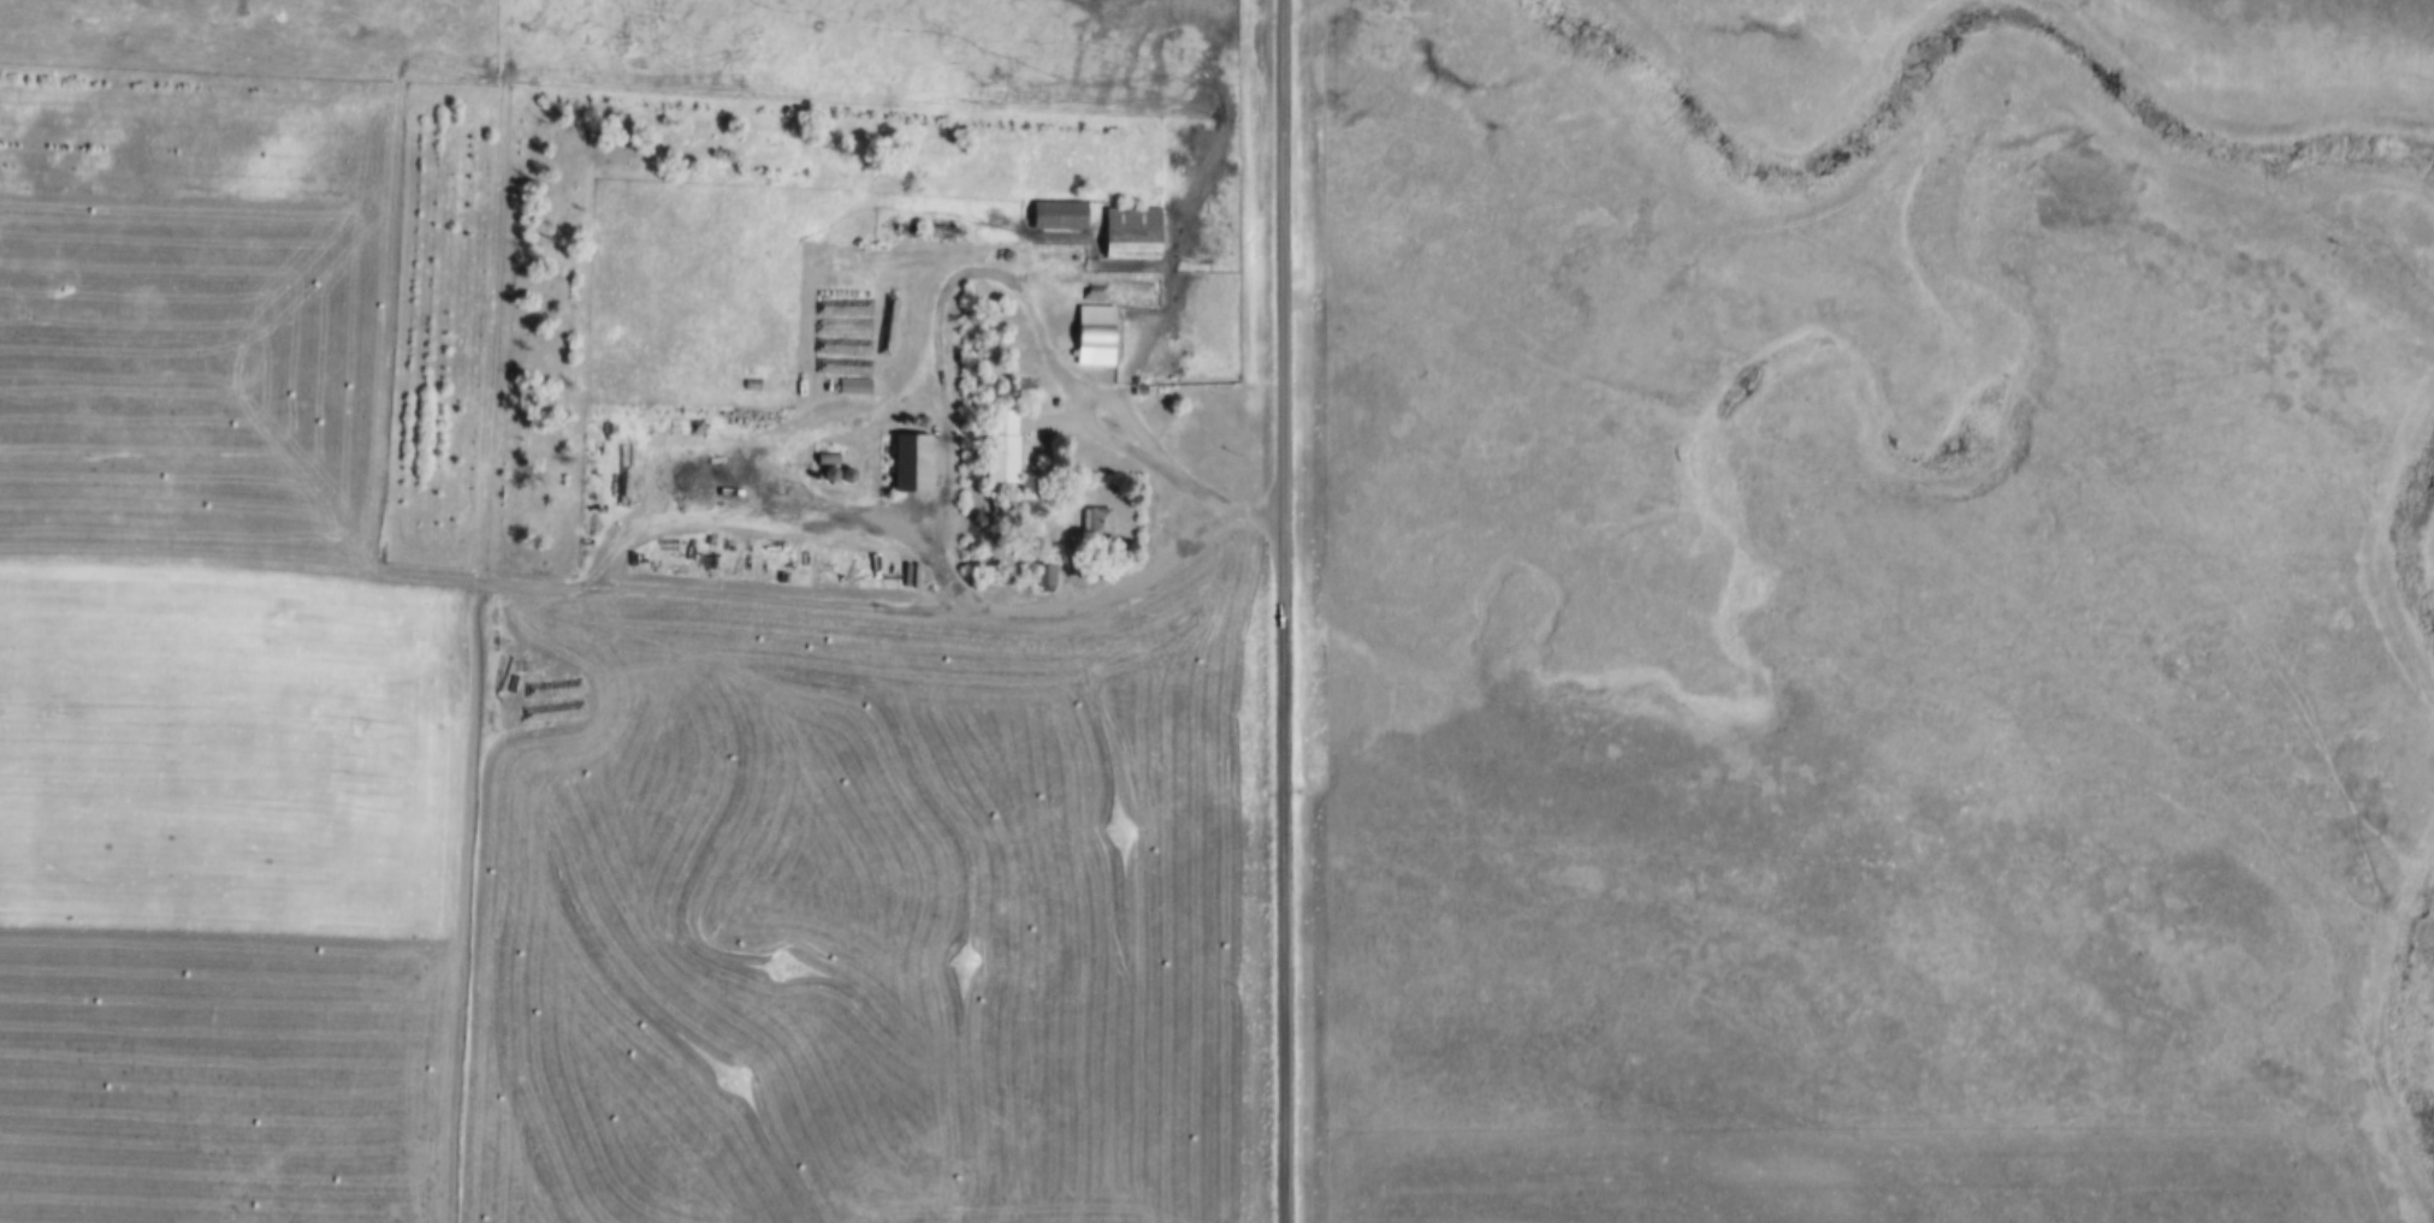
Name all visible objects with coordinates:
building: (1056, 212)
building: (1130, 228)
building: (1006, 251)
silo: (1006, 251)
building: (1092, 331)
building: (853, 380)
building: (1138, 385)
building: (852, 387)
road: (1132, 423)
building: (997, 443)
building: (877, 449)
building: (825, 452)
building: (908, 461)
building: (827, 470)
silo: (827, 470)
building: (845, 471)
silo: (845, 471)
building: (1097, 518)
building: (1043, 568)
road: (482, 583)
road: (1285, 611)
road: (1013, 621)
road: (469, 903)

